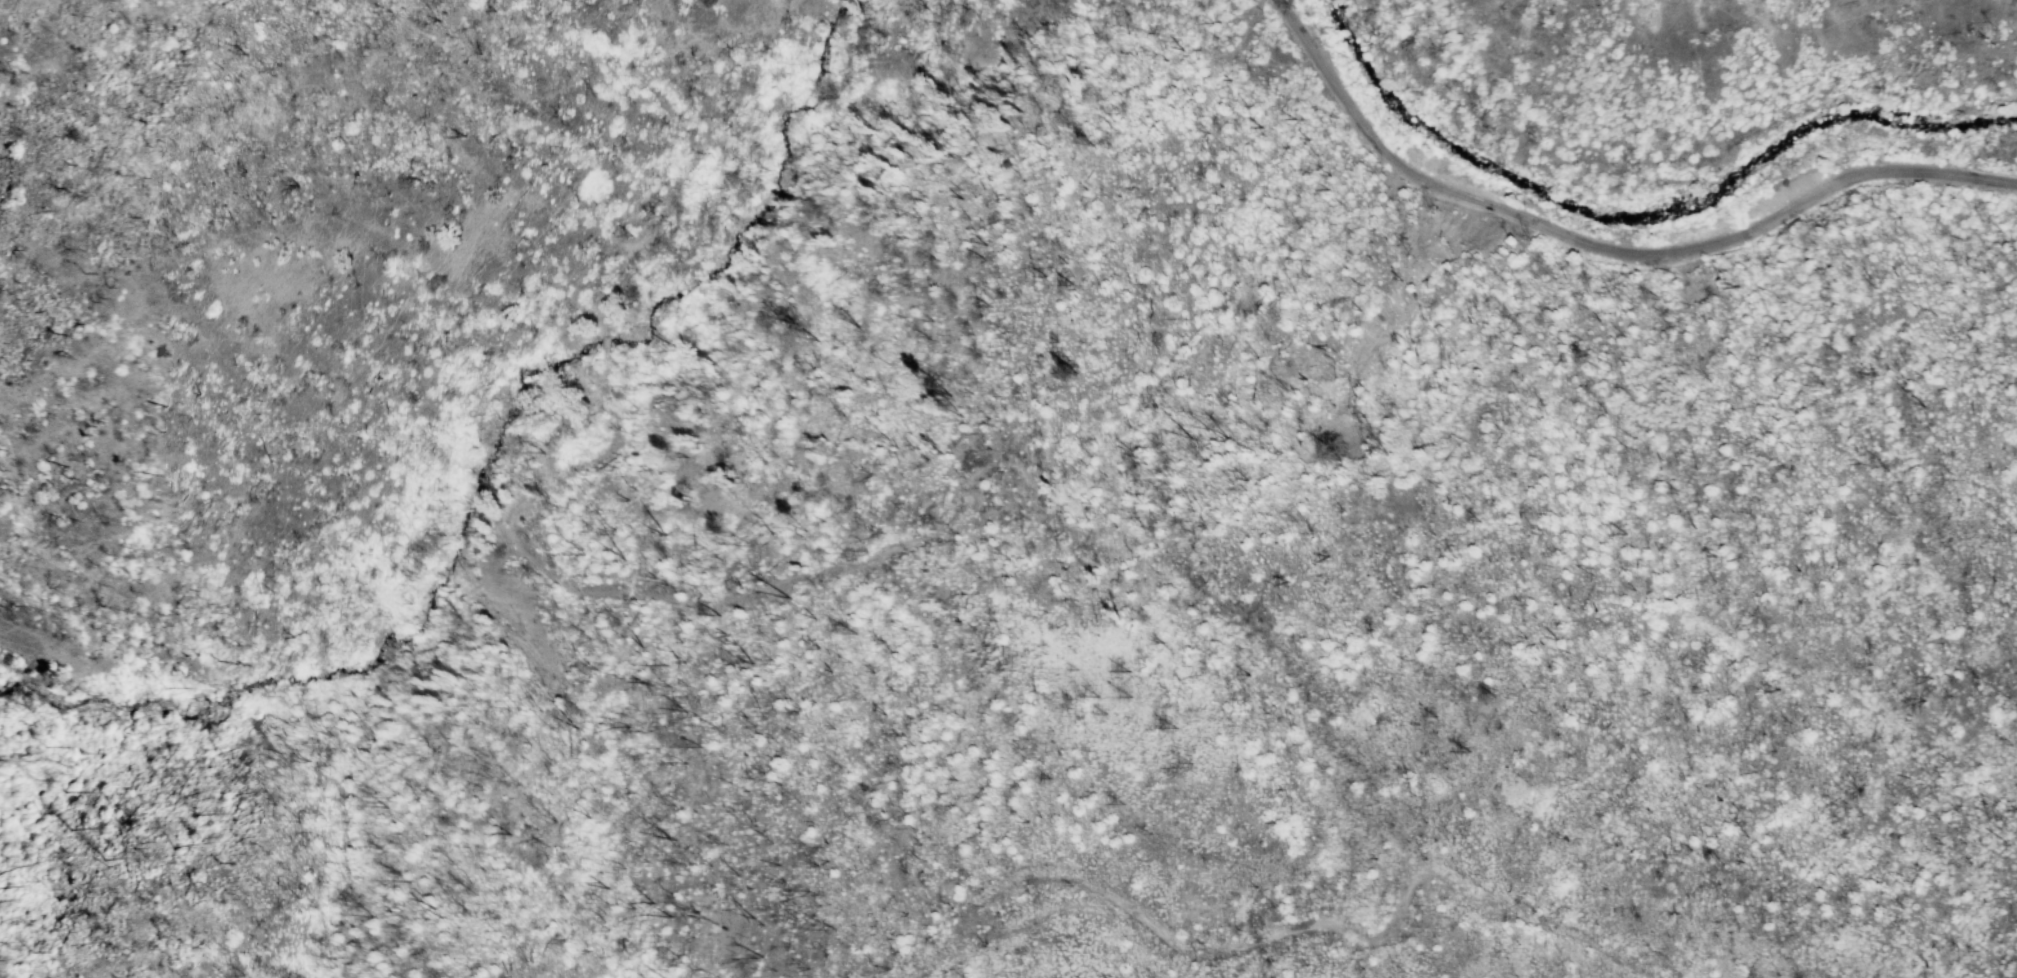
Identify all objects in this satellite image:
road: (1603, 249)

